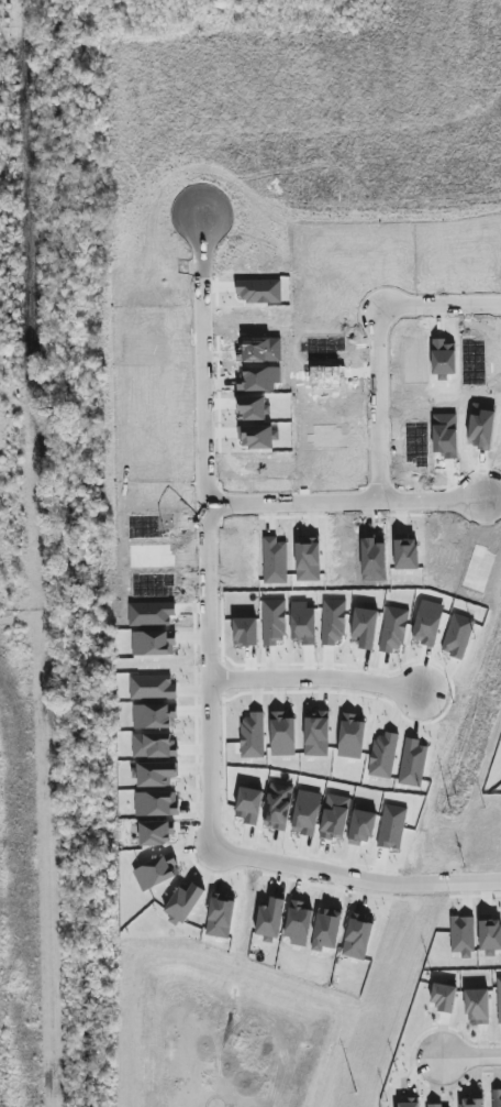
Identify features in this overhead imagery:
road: (375, 344)
road: (343, 501)
building: (153, 644)
road: (209, 675)
road: (315, 679)
building: (154, 716)
building: (154, 746)
building: (156, 803)
building: (278, 807)
building: (307, 812)
building: (335, 816)
building: (363, 827)
building: (155, 833)
building: (156, 873)
building: (185, 902)
building: (270, 920)
building: (490, 935)
building: (463, 936)
building: (444, 998)
building: (499, 998)
building: (477, 1006)
road: (469, 1057)
building: (497, 1098)
building: (408, 1103)
building: (472, 1103)
building: (438, 1105)

